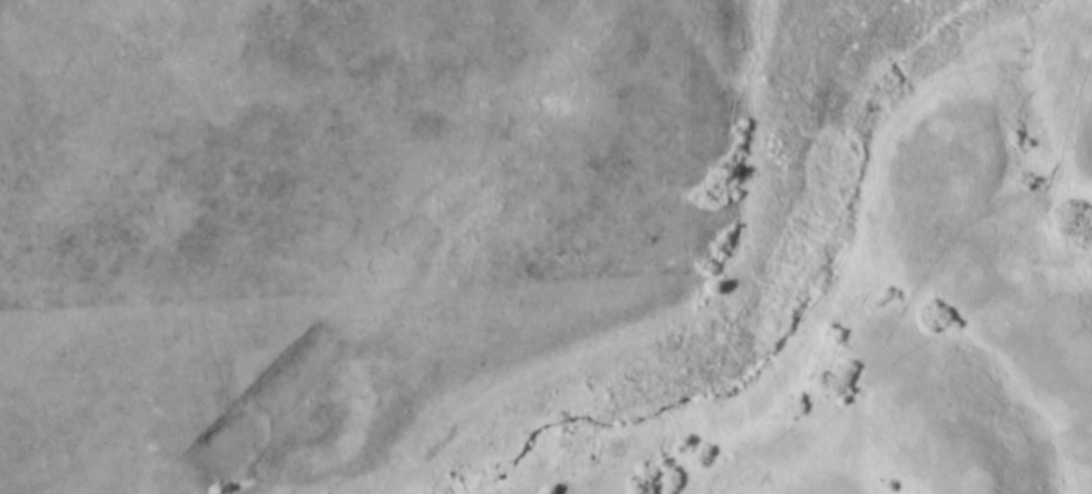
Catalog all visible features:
road: (445, 260)

